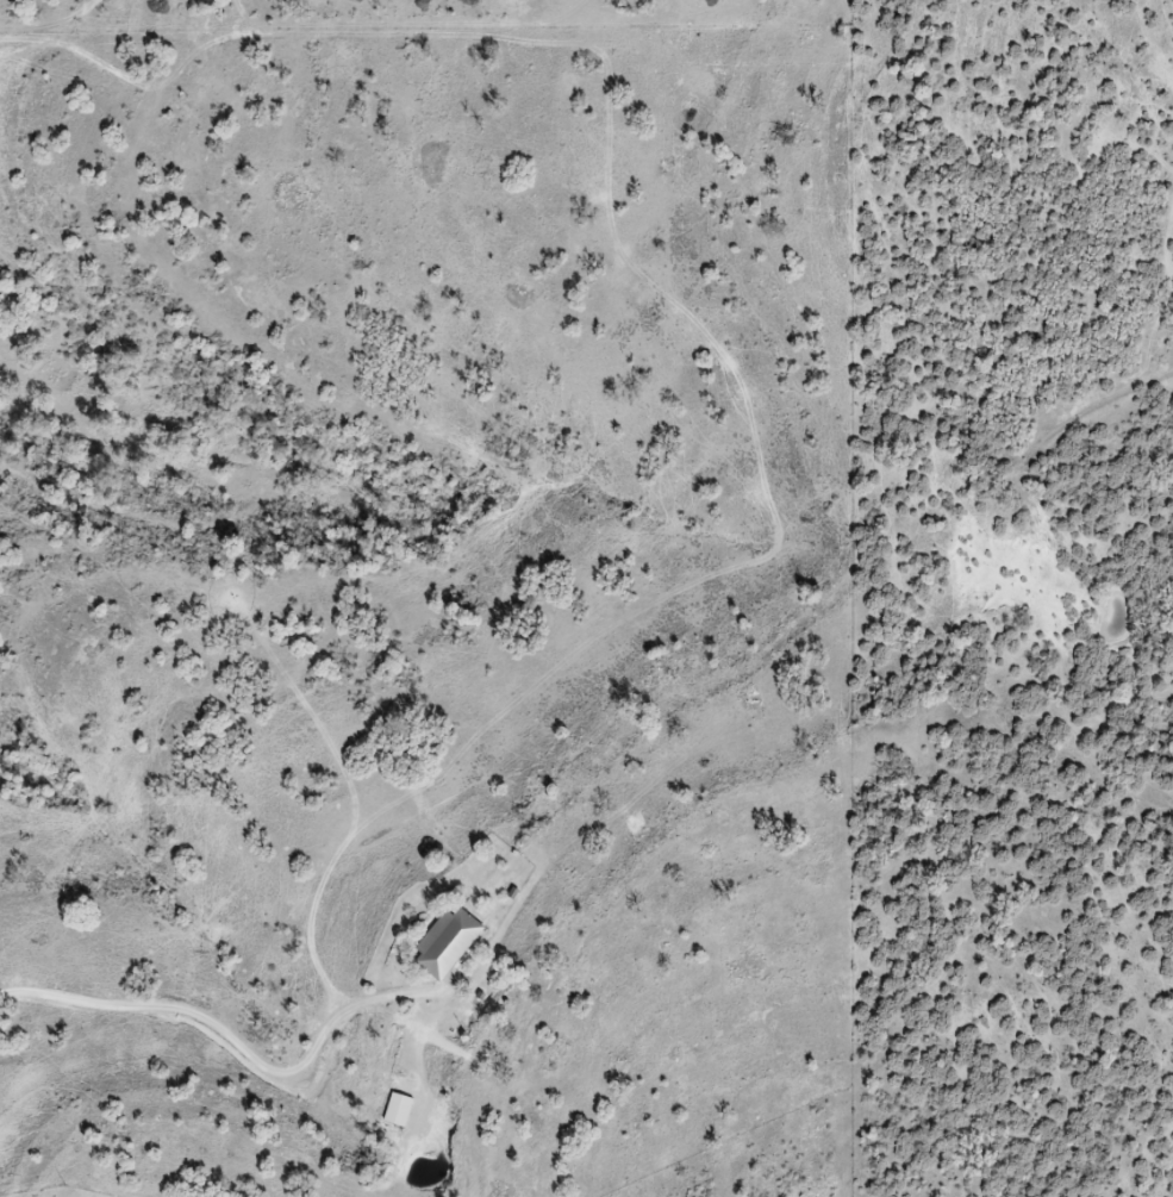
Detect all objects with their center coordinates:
building: (444, 941)
road: (239, 1043)
building: (394, 1109)

